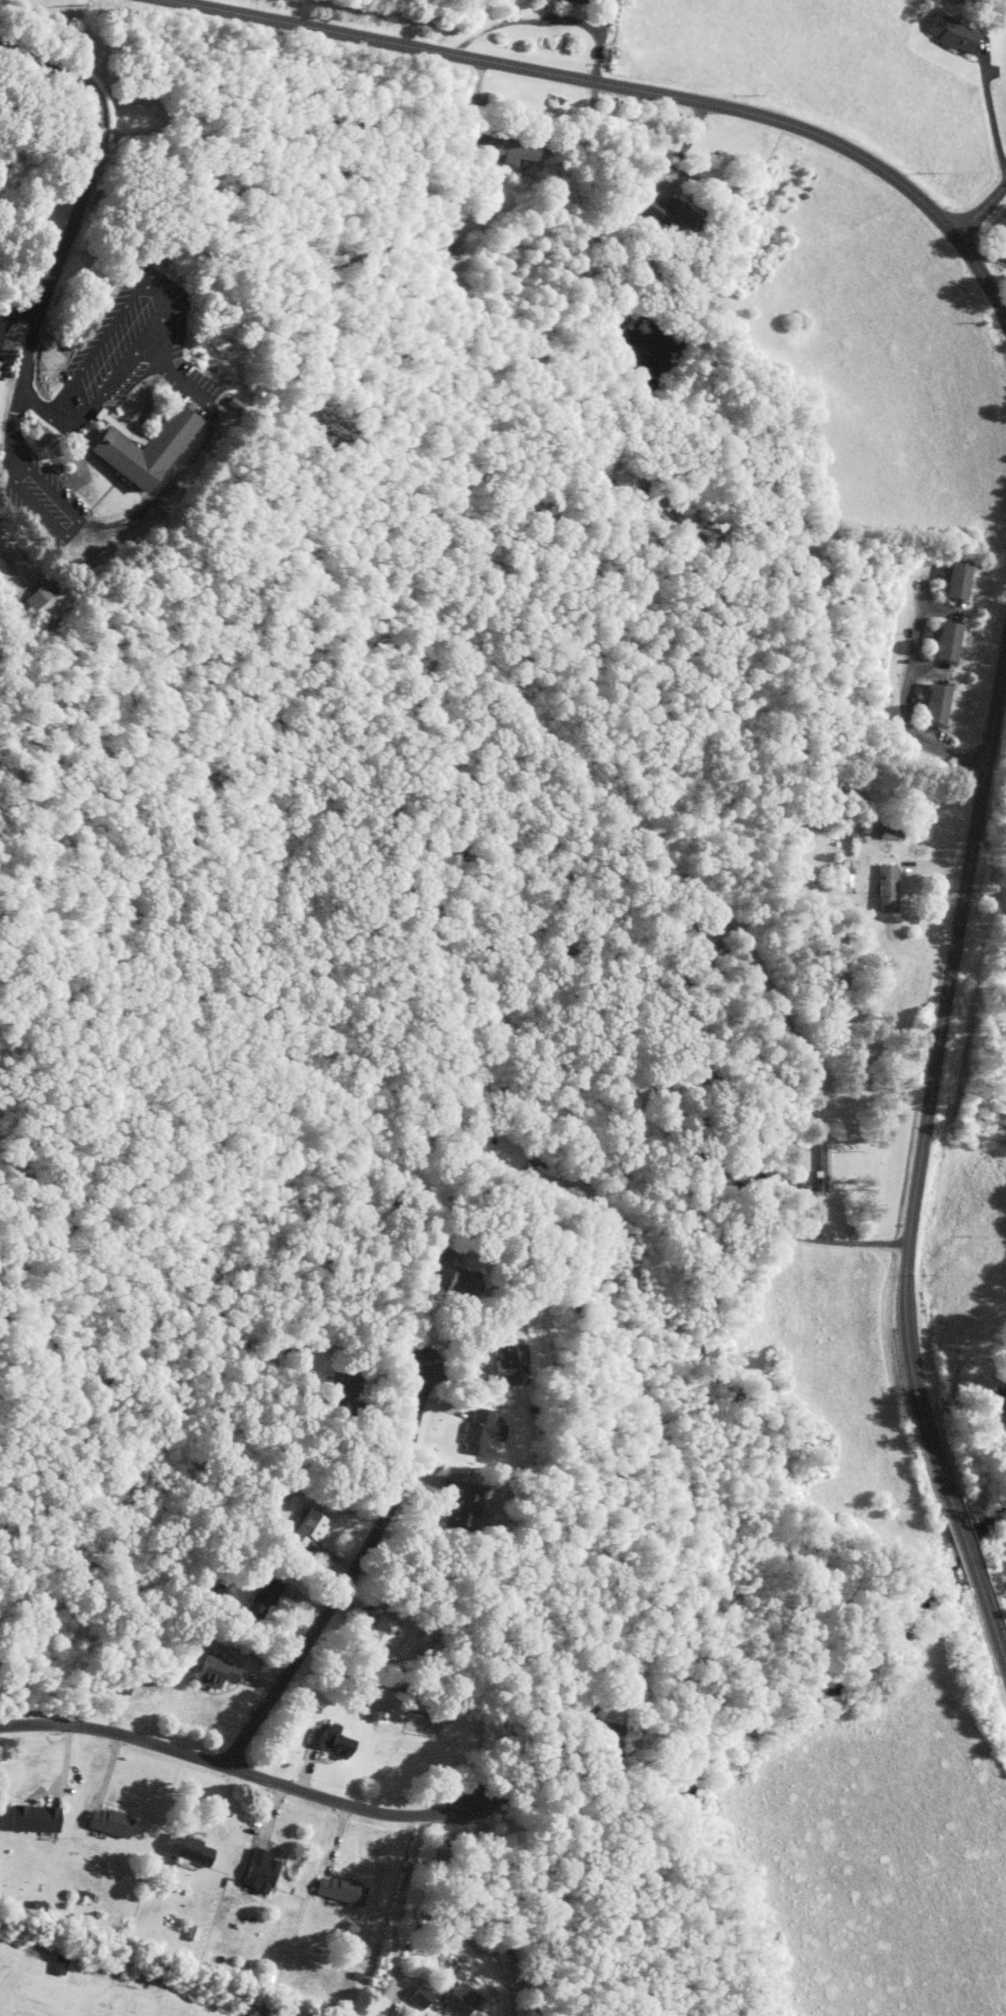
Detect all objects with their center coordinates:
building: (569, 1)
road: (546, 18)
building: (949, 32)
road: (628, 87)
road: (991, 106)
building: (507, 148)
road: (980, 210)
building: (663, 211)
road: (72, 222)
road: (162, 303)
road: (18, 314)
building: (140, 448)
road: (139, 515)
road: (7, 551)
building: (956, 579)
building: (36, 596)
building: (943, 641)
building: (932, 703)
road: (905, 710)
building: (848, 871)
building: (885, 888)
road: (933, 1081)
road: (721, 1162)
building: (823, 1166)
building: (444, 1259)
building: (457, 1284)
building: (504, 1353)
road: (472, 1381)
building: (344, 1388)
building: (478, 1430)
building: (458, 1507)
building: (307, 1527)
road: (965, 1542)
road: (348, 1579)
building: (261, 1595)
road: (992, 1618)
building: (376, 1638)
building: (212, 1671)
building: (378, 1716)
building: (328, 1740)
building: (607, 1742)
road: (237, 1769)
building: (30, 1818)
building: (105, 1822)
building: (186, 1849)
building: (257, 1871)
building: (337, 1889)
road: (398, 1902)
road: (501, 1911)
building: (57, 1965)
building: (416, 1996)
building: (454, 2000)

